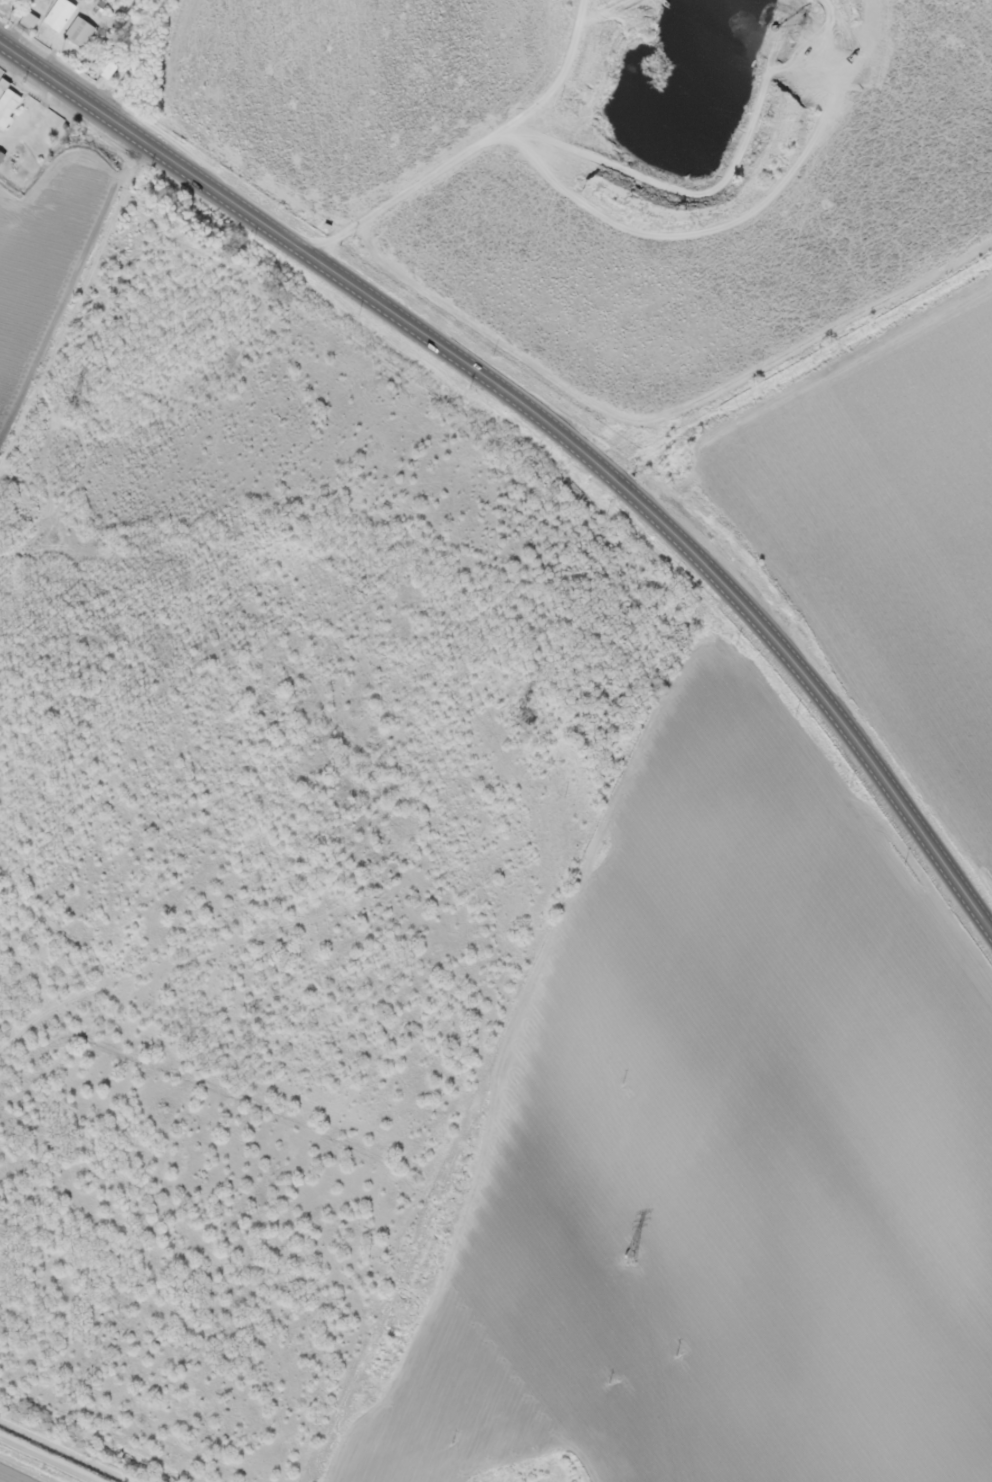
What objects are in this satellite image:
power tower: (81, 410)
road: (551, 422)
power tower: (528, 721)
power tower: (638, 1263)

